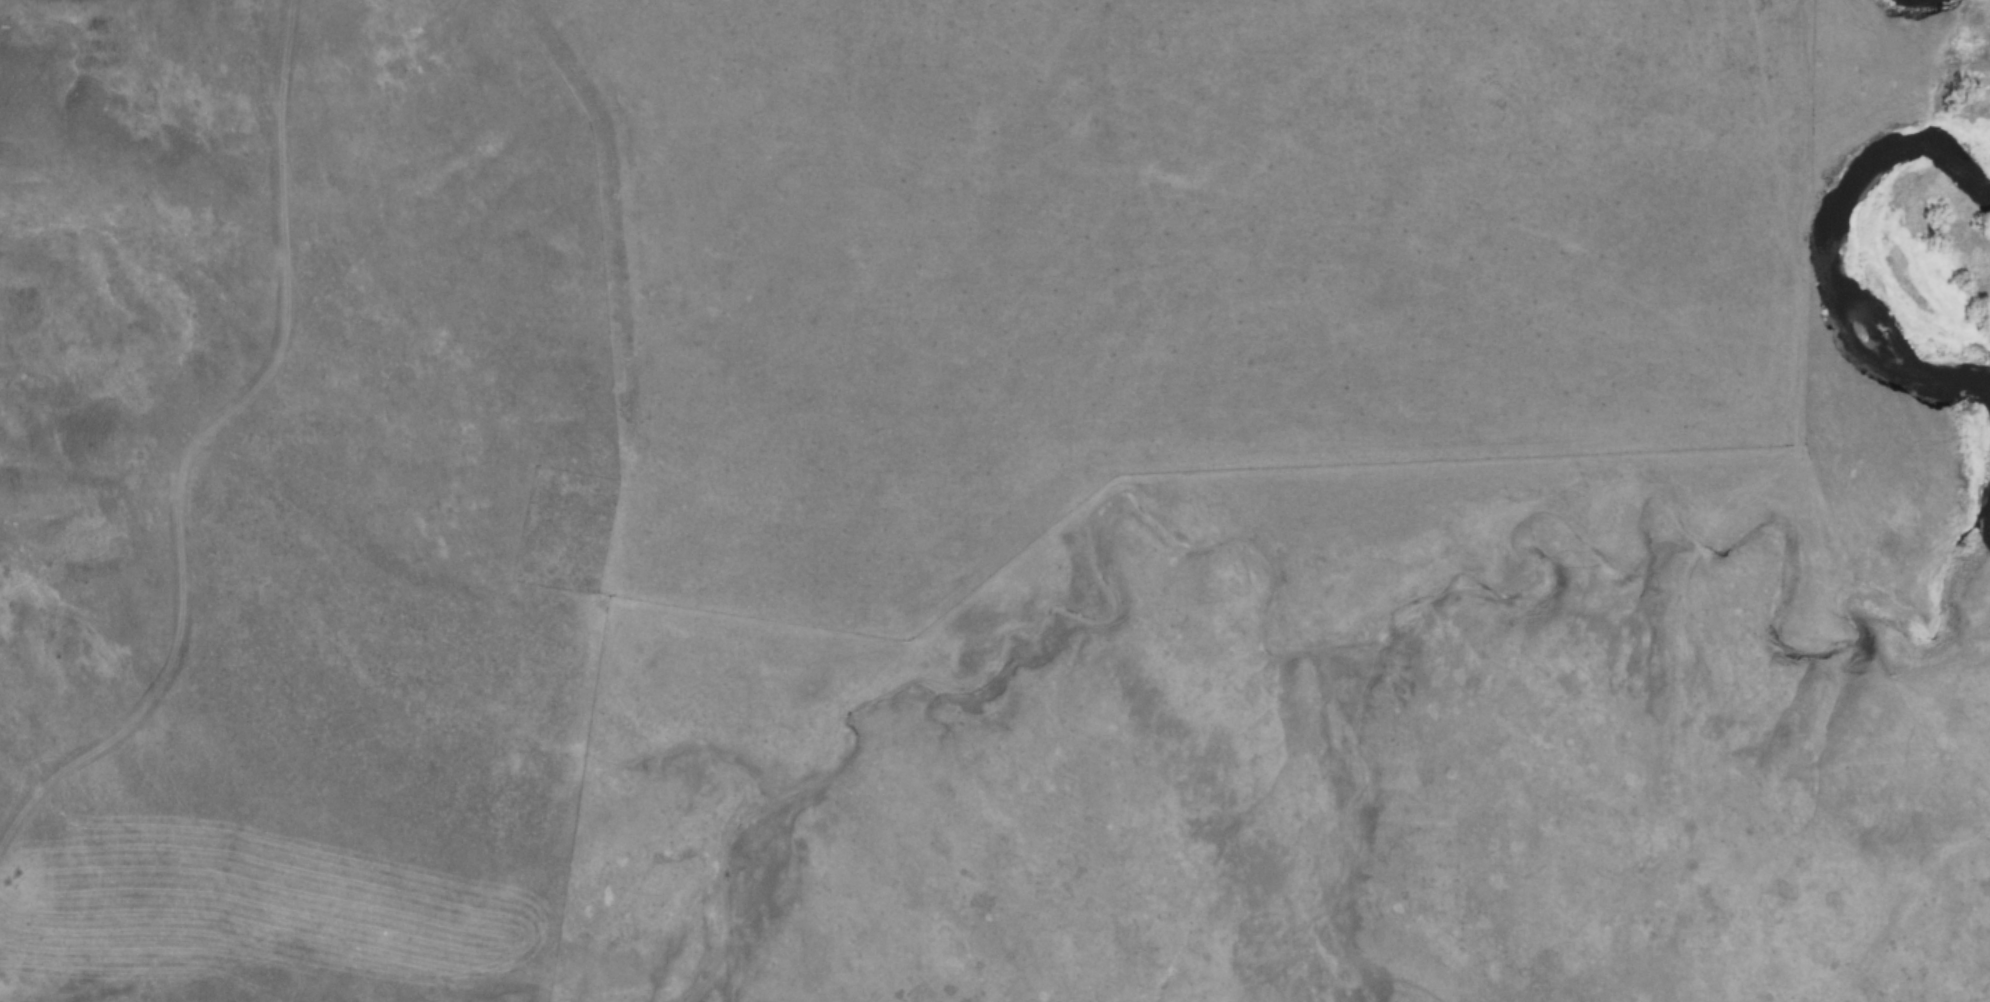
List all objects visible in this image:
river: (1844, 257)
river: (1987, 507)

